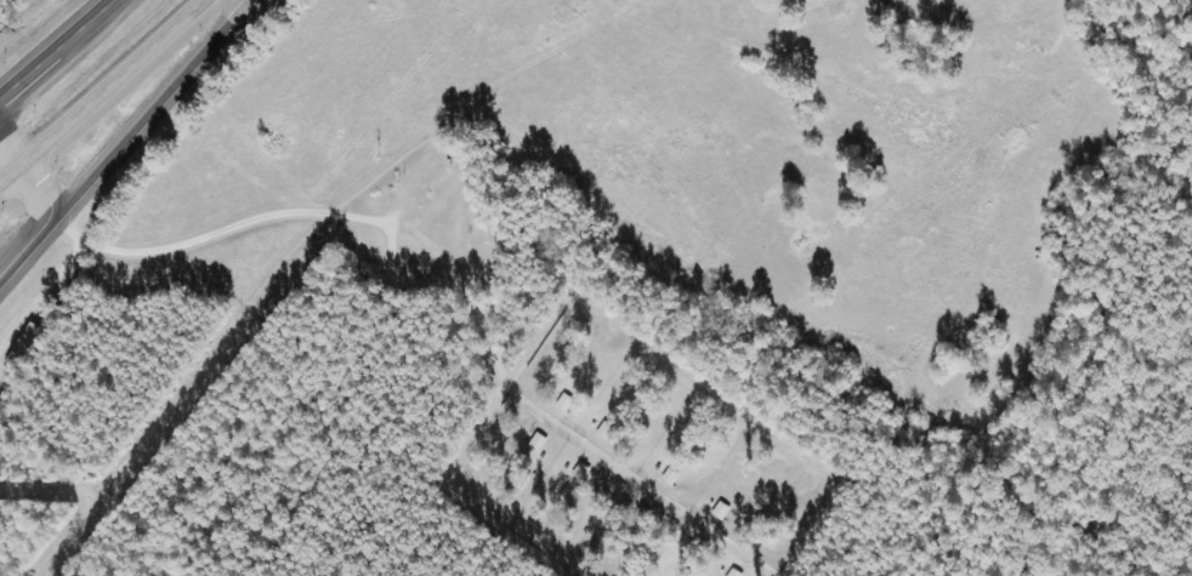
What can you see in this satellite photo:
road: (114, 1)
road: (56, 47)
road: (113, 81)
road: (149, 109)
road: (8, 171)
road: (32, 178)
road: (25, 249)
building: (22, 347)

